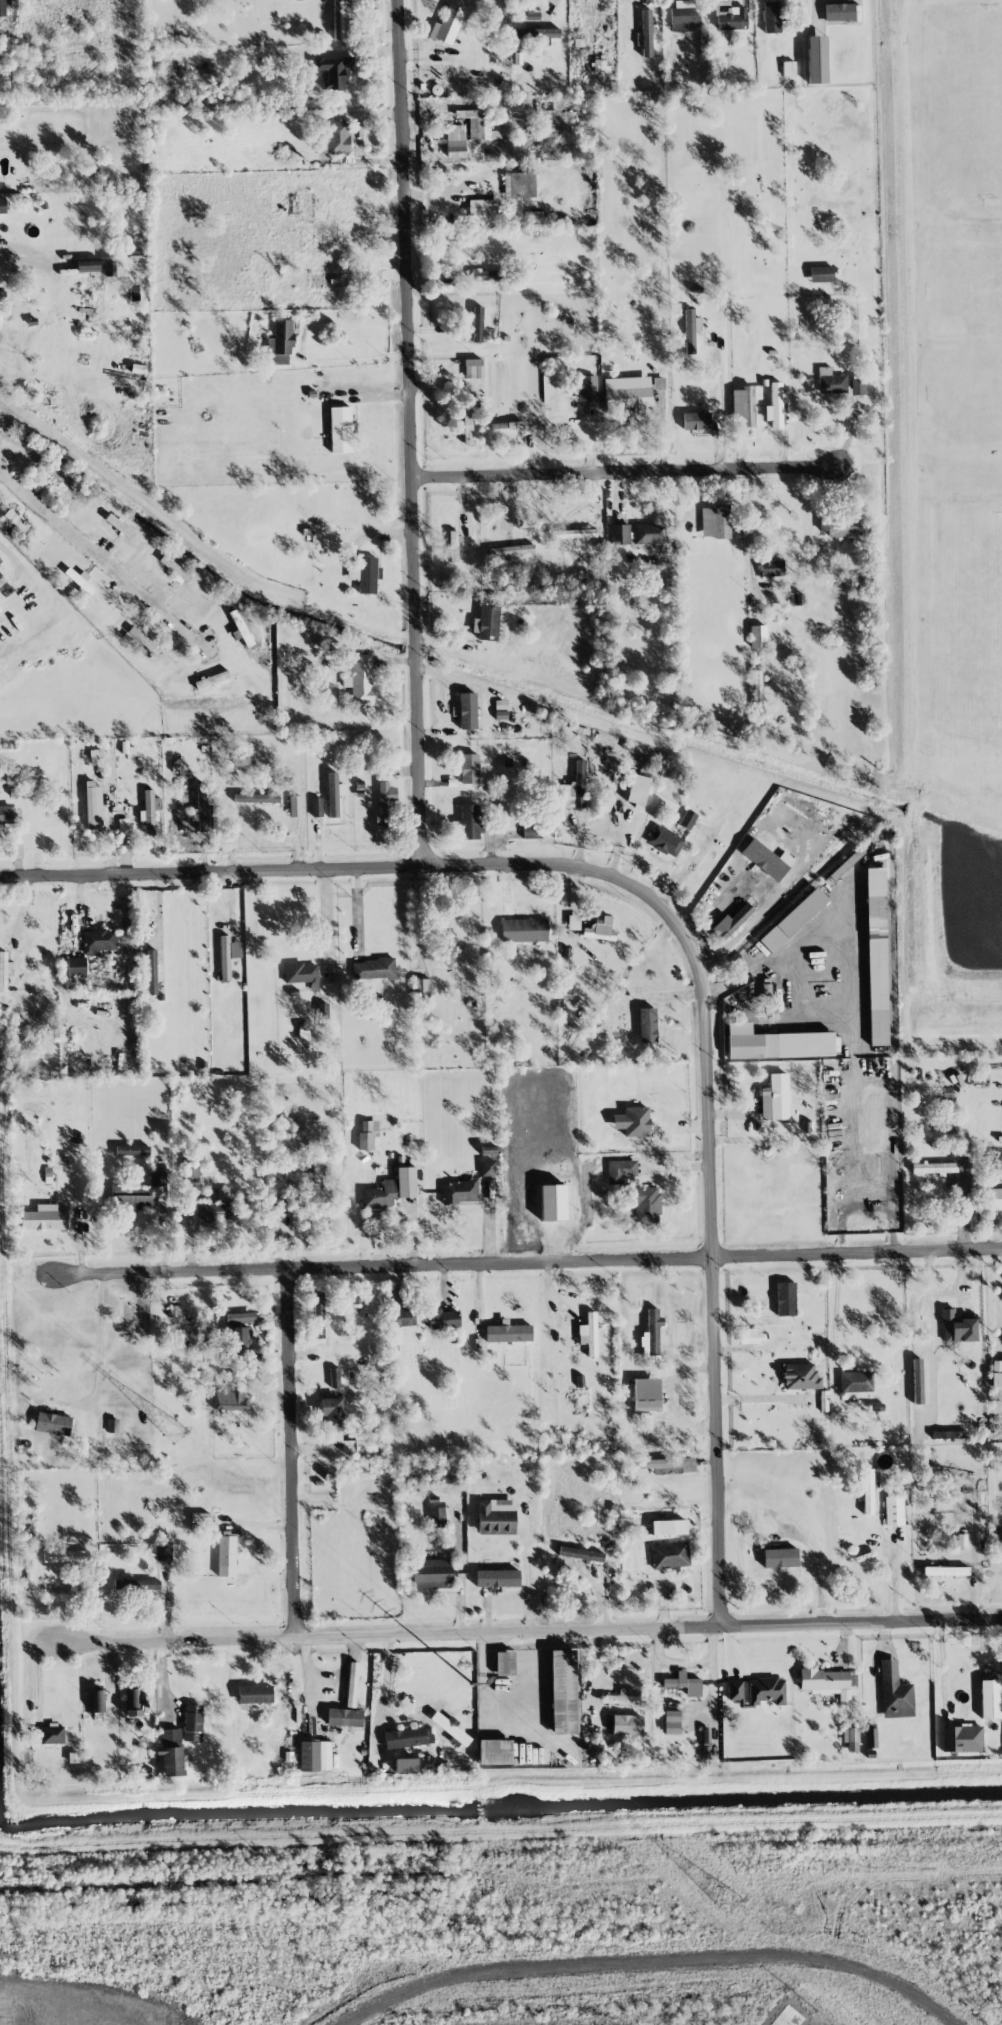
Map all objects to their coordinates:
building: (308, 0)
building: (2, 8)
building: (532, 15)
building: (681, 15)
building: (770, 16)
building: (731, 18)
building: (342, 20)
building: (446, 25)
building: (536, 33)
building: (645, 33)
building: (815, 59)
building: (788, 69)
building: (333, 71)
building: (470, 81)
building: (479, 124)
road: (356, 136)
building: (337, 137)
building: (455, 140)
building: (518, 184)
building: (2, 205)
building: (483, 211)
road: (21, 263)
building: (87, 266)
building: (820, 274)
building: (485, 275)
building: (2, 294)
building: (477, 324)
building: (690, 330)
building: (280, 343)
road: (357, 358)
building: (473, 368)
building: (830, 381)
building: (658, 383)
building: (856, 387)
building: (586, 388)
building: (628, 393)
road: (669, 402)
building: (742, 405)
building: (775, 405)
building: (695, 420)
building: (467, 422)
building: (340, 429)
road: (415, 432)
building: (53, 471)
road: (629, 474)
park: (941, 514)
road: (750, 521)
building: (715, 522)
building: (841, 526)
building: (572, 533)
building: (649, 533)
building: (619, 534)
building: (454, 544)
building: (510, 550)
road: (6, 552)
road: (97, 559)
building: (0, 560)
building: (771, 567)
building: (174, 568)
building: (364, 574)
building: (0, 575)
building: (486, 623)
building: (757, 636)
building: (360, 679)
building: (757, 686)
building: (467, 710)
building: (469, 768)
building: (572, 789)
building: (637, 790)
building: (333, 794)
building: (256, 797)
building: (384, 803)
building: (91, 806)
building: (294, 806)
building: (316, 807)
building: (201, 808)
building: (149, 811)
building: (6, 814)
building: (687, 819)
building: (469, 822)
building: (122, 824)
building: (531, 831)
building: (664, 841)
road: (325, 916)
road: (413, 916)
building: (573, 922)
building: (731, 922)
building: (784, 926)
building: (599, 929)
road: (682, 929)
road: (158, 930)
building: (524, 930)
building: (98, 940)
road: (843, 948)
building: (227, 954)
building: (876, 956)
building: (75, 966)
building: (372, 968)
building: (4, 970)
building: (151, 972)
building: (300, 973)
building: (421, 988)
building: (321, 1010)
building: (647, 1025)
building: (775, 1043)
building: (774, 1098)
building: (635, 1121)
building: (283, 1125)
building: (366, 1133)
building: (131, 1150)
building: (487, 1167)
building: (933, 1167)
building: (189, 1169)
building: (621, 1172)
building: (297, 1173)
building: (390, 1190)
building: (459, 1192)
building: (138, 1193)
building: (222, 1194)
building: (993, 1199)
building: (552, 1202)
building: (646, 1204)
road: (865, 1204)
building: (44, 1218)
road: (527, 1265)
road: (943, 1293)
building: (785, 1298)
road: (999, 1298)
road: (835, 1303)
building: (403, 1317)
building: (240, 1318)
building: (442, 1319)
building: (957, 1326)
building: (507, 1332)
building: (588, 1334)
building: (651, 1335)
building: (749, 1336)
building: (241, 1337)
road: (99, 1338)
building: (996, 1372)
building: (800, 1376)
building: (335, 1377)
building: (855, 1381)
building: (646, 1394)
road: (762, 1397)
building: (228, 1400)
building: (331, 1413)
building: (52, 1423)
power tower: (171, 1428)
building: (364, 1442)
road: (292, 1455)
building: (669, 1465)
building: (939, 1470)
building: (448, 1474)
building: (867, 1491)
building: (893, 1510)
building: (440, 1516)
building: (199, 1517)
building: (494, 1520)
building: (671, 1527)
road: (796, 1533)
building: (159, 1550)
building: (580, 1553)
building: (226, 1555)
building: (669, 1555)
building: (779, 1557)
building: (945, 1570)
road: (459, 1572)
building: (431, 1573)
road: (525, 1575)
building: (497, 1578)
road: (893, 1579)
building: (141, 1584)
power tower: (371, 1598)
road: (527, 1633)
building: (504, 1663)
road: (941, 1666)
building: (827, 1681)
building: (683, 1683)
building: (734, 1690)
building: (766, 1690)
building: (562, 1691)
building: (894, 1692)
building: (254, 1694)
building: (625, 1697)
building: (989, 1698)
building: (97, 1700)
building: (344, 1717)
building: (192, 1722)
building: (671, 1722)
building: (626, 1724)
building: (450, 1729)
building: (52, 1734)
building: (407, 1737)
building: (850, 1738)
building: (870, 1738)
building: (954, 1738)
building: (494, 1751)
building: (170, 1752)
building: (314, 1755)
building: (428, 1763)
building: (405, 1764)
power tower: (566, 1764)
power tower: (814, 1856)
power tower: (535, 1865)
power tower: (257, 1874)
power tower: (704, 1880)

